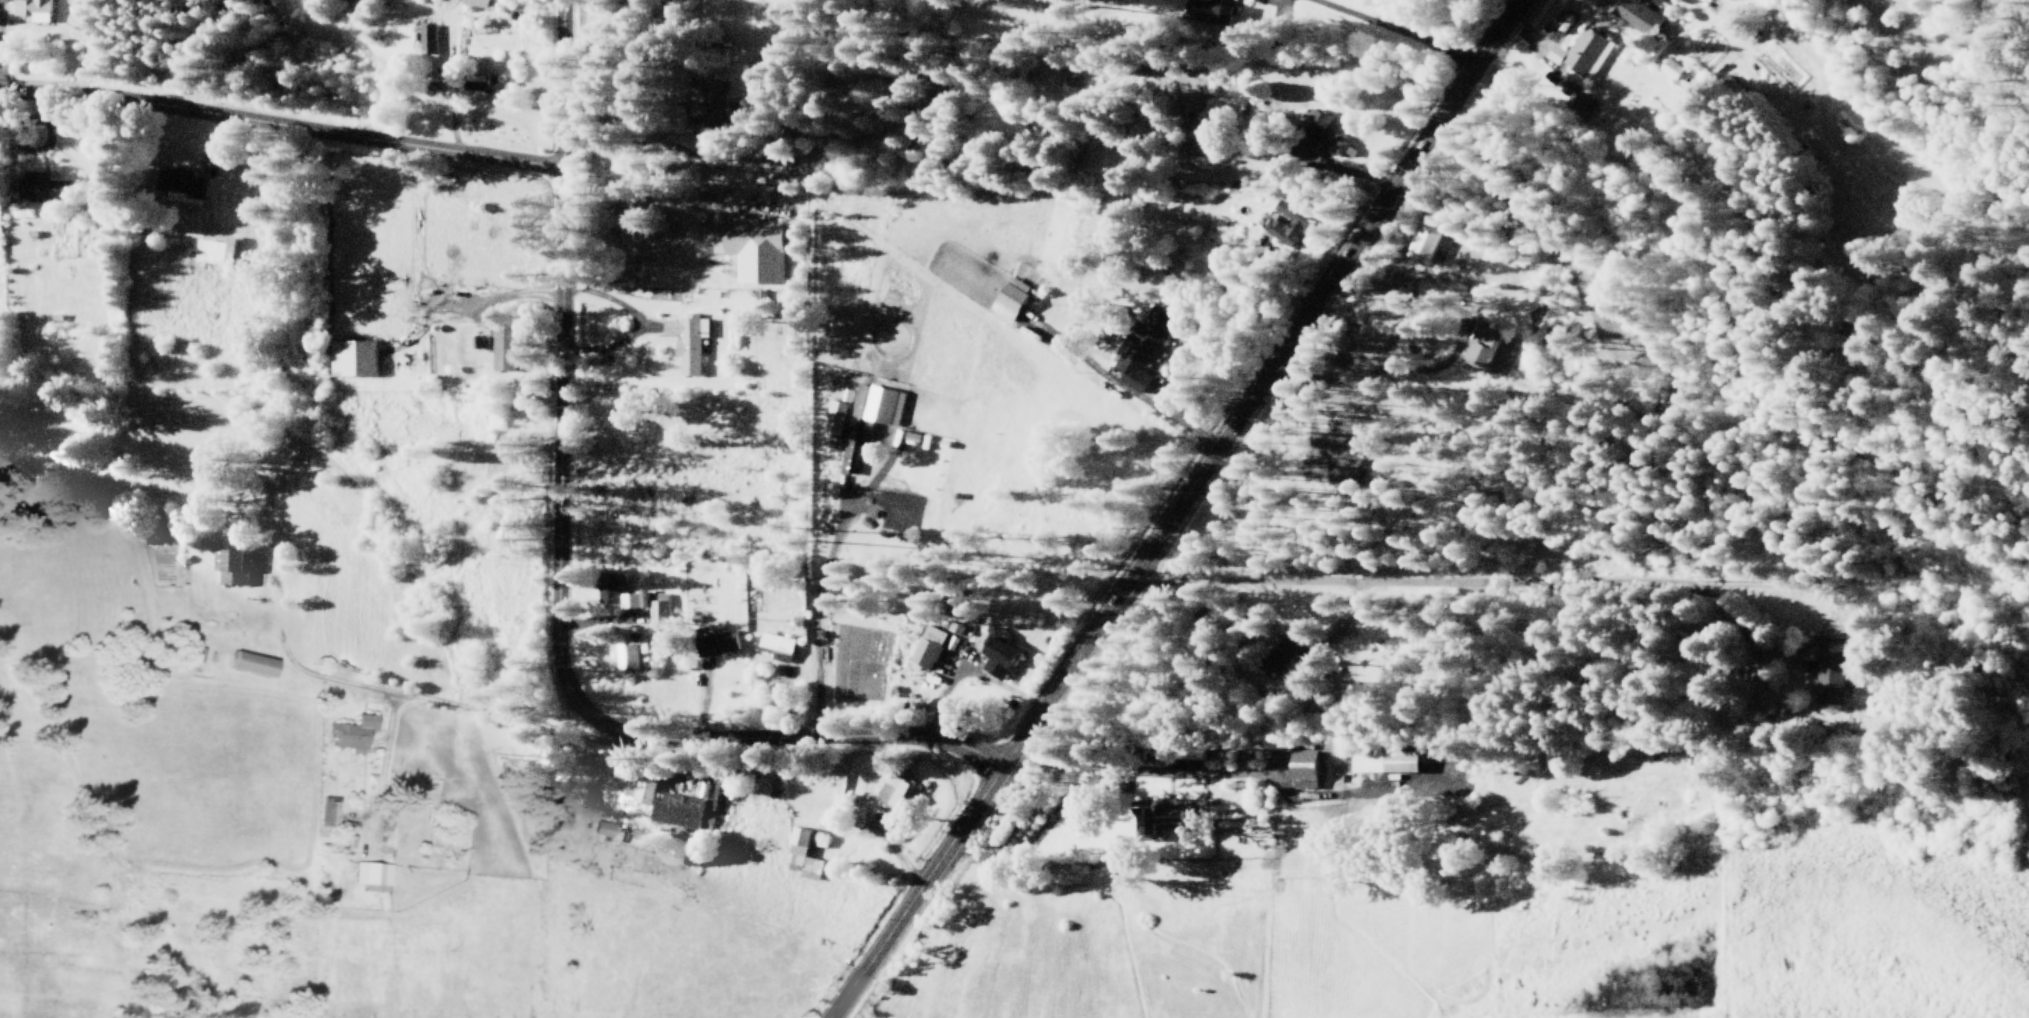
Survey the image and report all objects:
building: (476, 2)
building: (32, 9)
building: (1632, 14)
building: (1219, 21)
road: (1391, 34)
building: (427, 36)
road: (1528, 36)
building: (1588, 50)
building: (1671, 67)
building: (485, 84)
building: (711, 102)
road: (280, 119)
building: (1315, 123)
building: (1196, 138)
building: (1304, 144)
building: (1342, 146)
road: (1305, 161)
building: (186, 184)
building: (41, 185)
building: (99, 204)
building: (1278, 225)
building: (1427, 238)
building: (753, 248)
building: (215, 250)
water tower: (1033, 281)
building: (1009, 299)
road: (1997, 314)
road: (1864, 322)
building: (686, 340)
building: (503, 347)
building: (1484, 347)
building: (1141, 352)
building: (350, 358)
road: (556, 362)
building: (598, 367)
road: (1934, 387)
building: (878, 403)
road: (1168, 406)
building: (835, 414)
crop: (1004, 418)
building: (485, 459)
road: (1459, 461)
road: (1983, 496)
building: (896, 500)
crop: (94, 501)
road: (1173, 509)
road: (849, 512)
building: (500, 532)
road: (1379, 561)
road: (1893, 567)
road: (1758, 568)
building: (225, 571)
crop: (349, 582)
building: (609, 587)
building: (633, 599)
building: (654, 609)
building: (715, 640)
building: (776, 645)
building: (922, 651)
building: (998, 652)
building: (1282, 654)
building: (626, 655)
building: (1313, 663)
building: (251, 665)
building: (1826, 668)
road: (963, 672)
road: (454, 709)
building: (352, 732)
road: (780, 734)
building: (1390, 759)
building: (1301, 766)
crop: (190, 769)
road: (1231, 770)
building: (889, 786)
building: (638, 788)
building: (716, 796)
building: (677, 810)
building: (327, 814)
building: (1166, 817)
crop: (644, 826)
building: (603, 827)
building: (1037, 830)
crop: (400, 832)
road: (820, 842)
building: (799, 852)
road: (1148, 856)
road: (1673, 857)
building: (370, 874)
road: (1086, 888)
crop: (440, 905)
road: (1265, 933)
road: (1190, 951)

